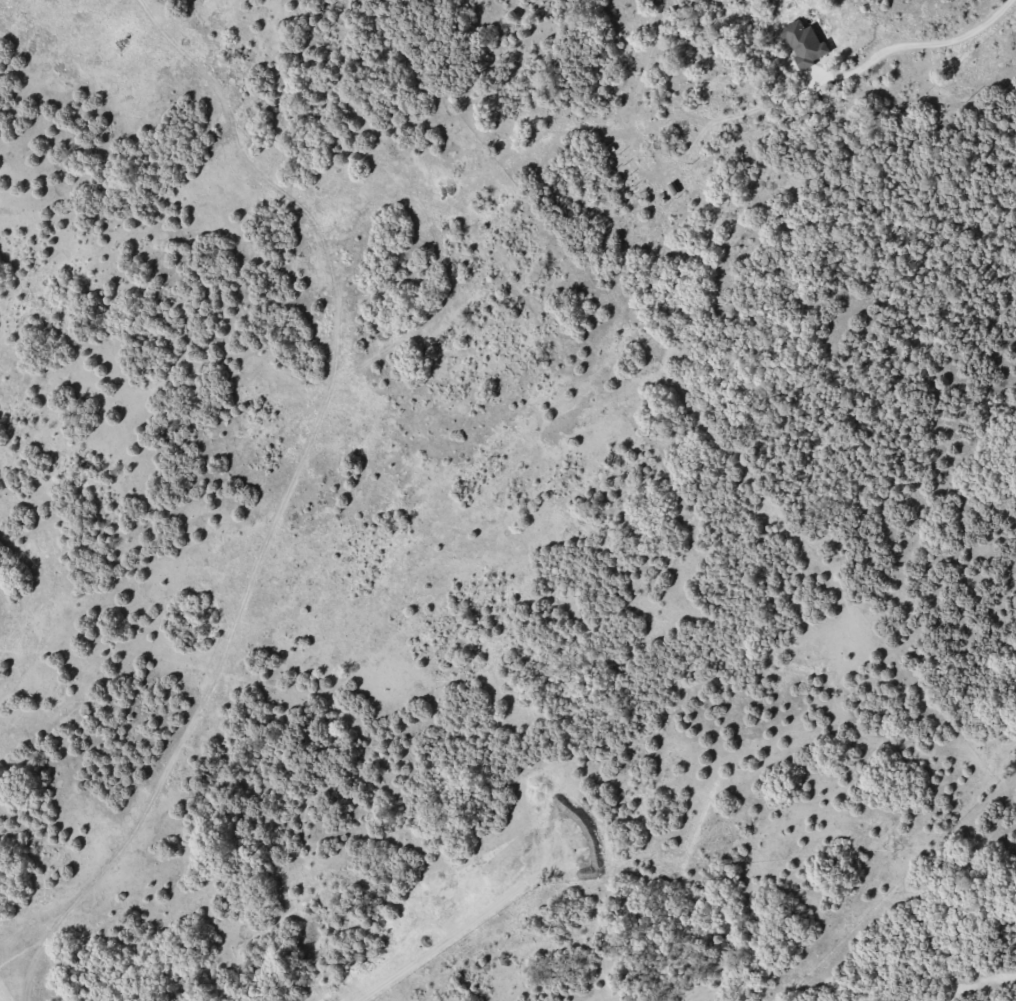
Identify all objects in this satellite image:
building: (805, 43)
road: (927, 44)

